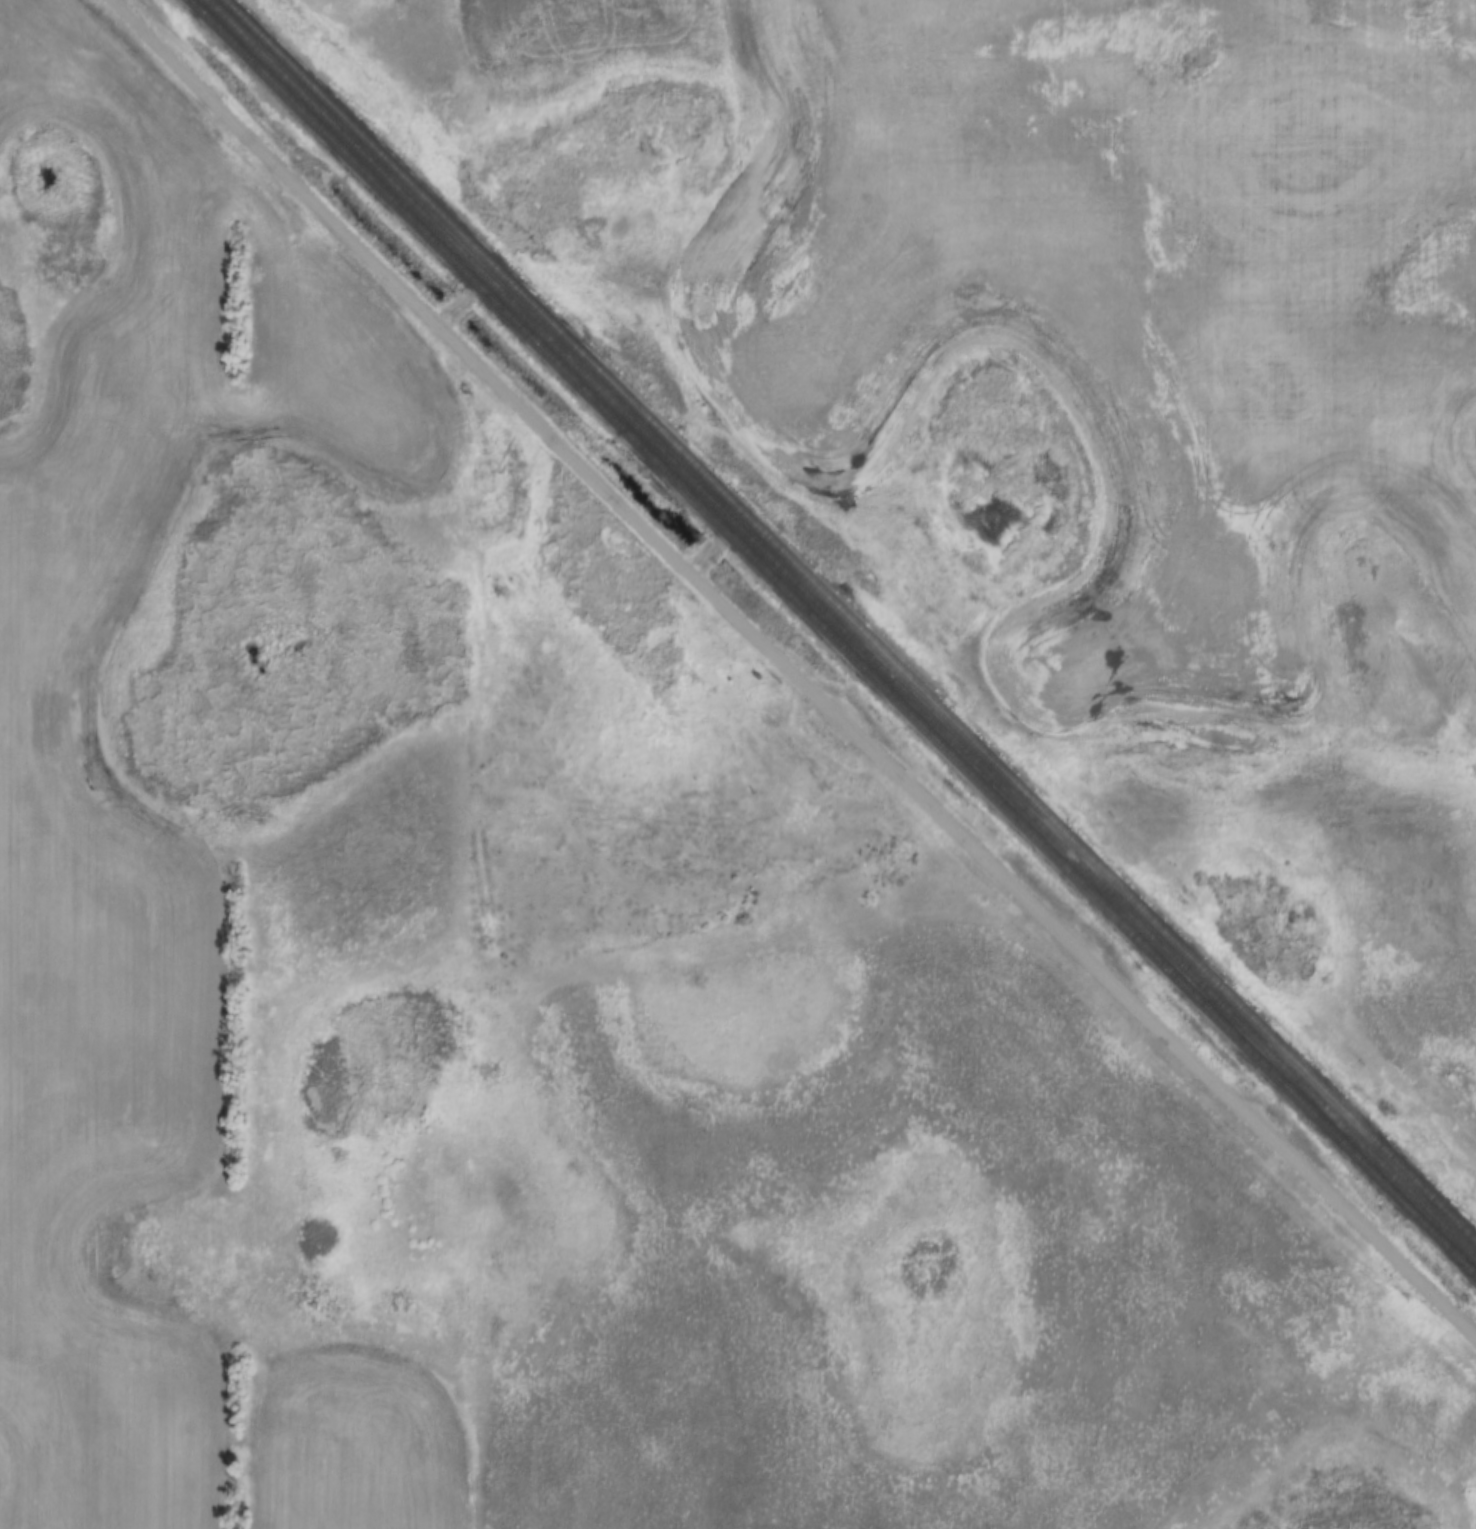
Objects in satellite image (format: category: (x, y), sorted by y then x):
railway: (851, 619)
railway: (842, 628)
railway: (834, 636)
road: (789, 673)

